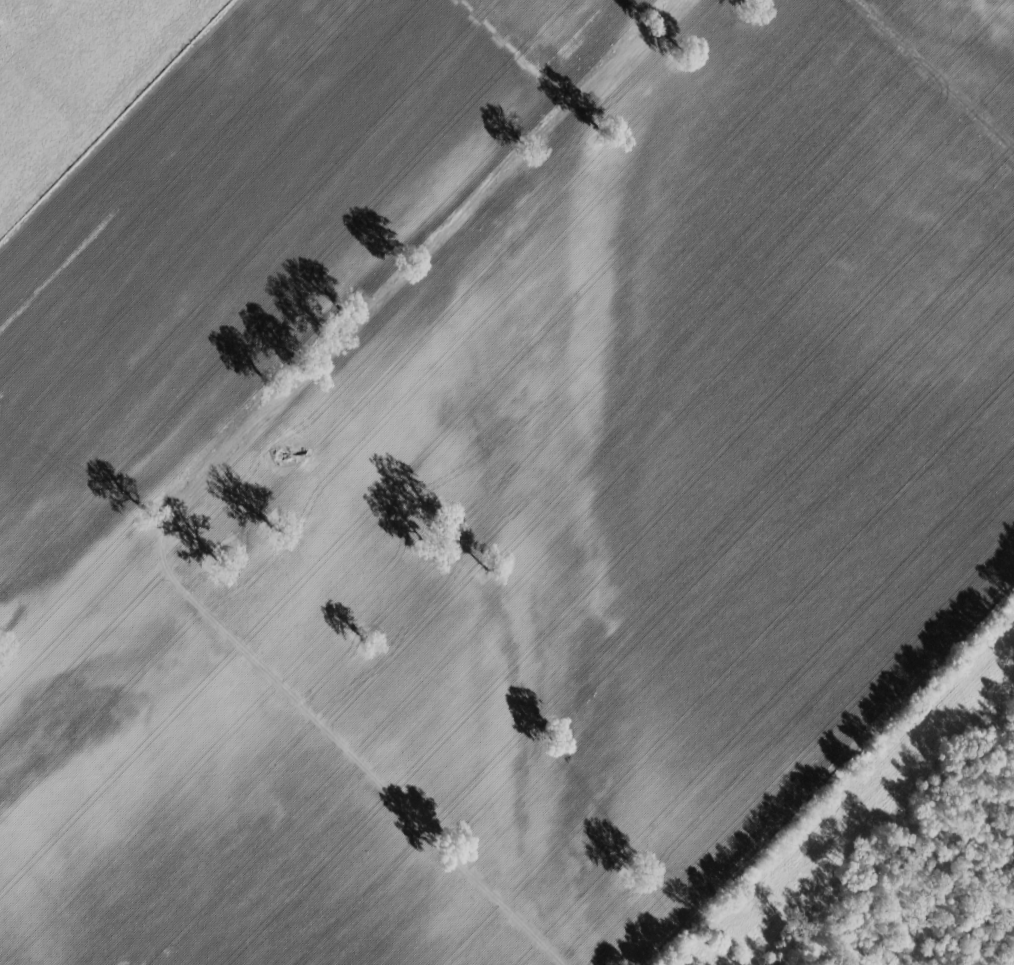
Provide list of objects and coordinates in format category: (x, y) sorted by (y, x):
road: (771, 32)

